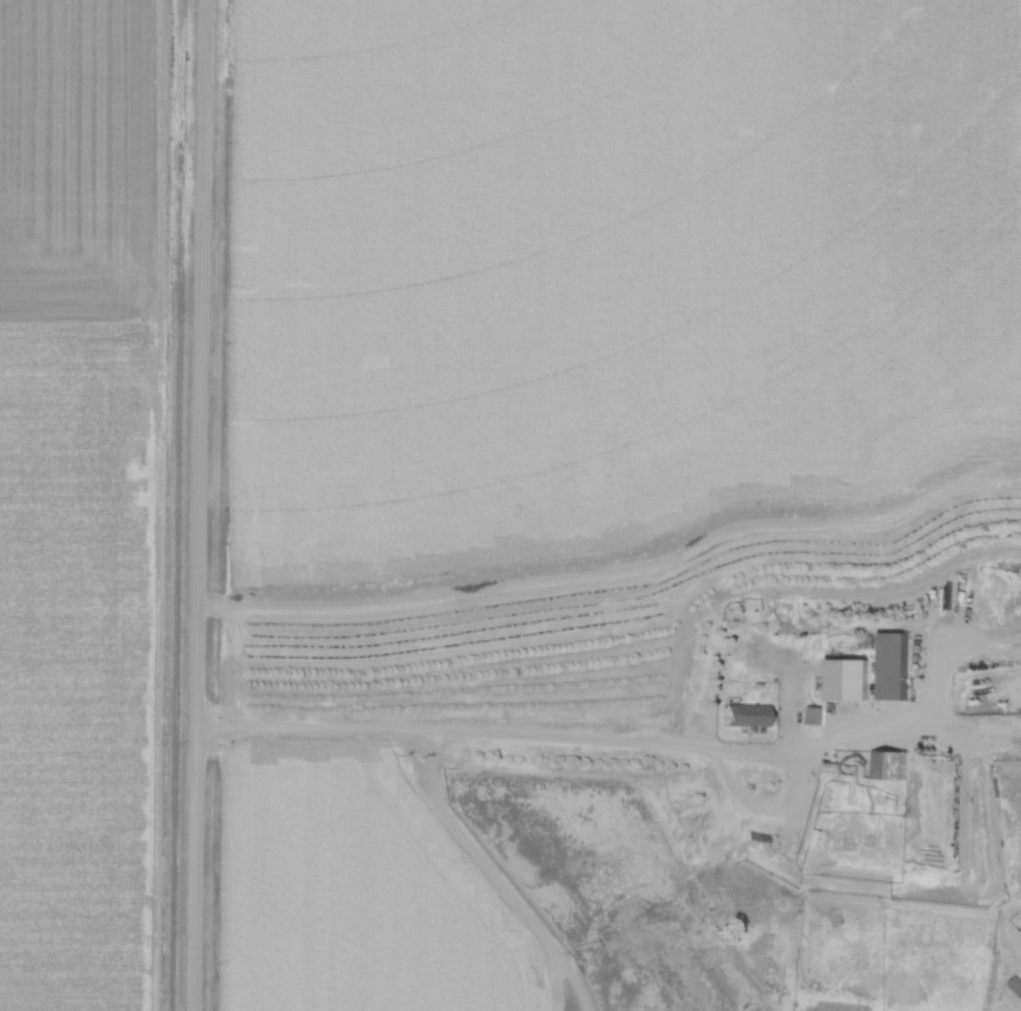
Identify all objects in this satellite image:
building: (9, 370)
road: (201, 505)
building: (891, 666)
building: (849, 679)
building: (748, 716)
building: (815, 716)
road: (465, 728)
building: (890, 765)
road: (802, 776)
building: (1015, 986)

